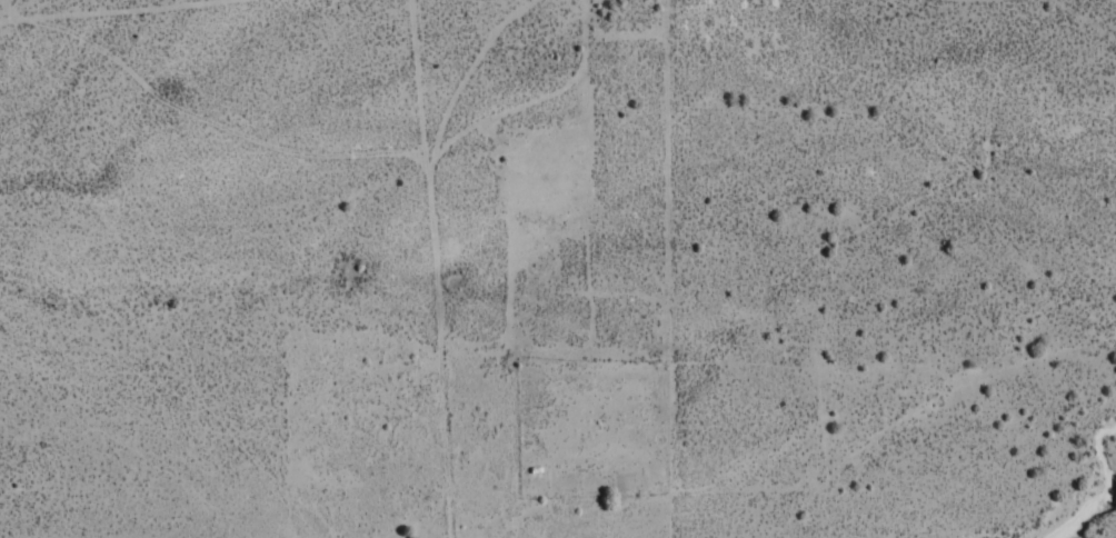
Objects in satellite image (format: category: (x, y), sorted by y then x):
road: (542, 62)
road: (452, 269)
road: (580, 329)
river: (1100, 514)

